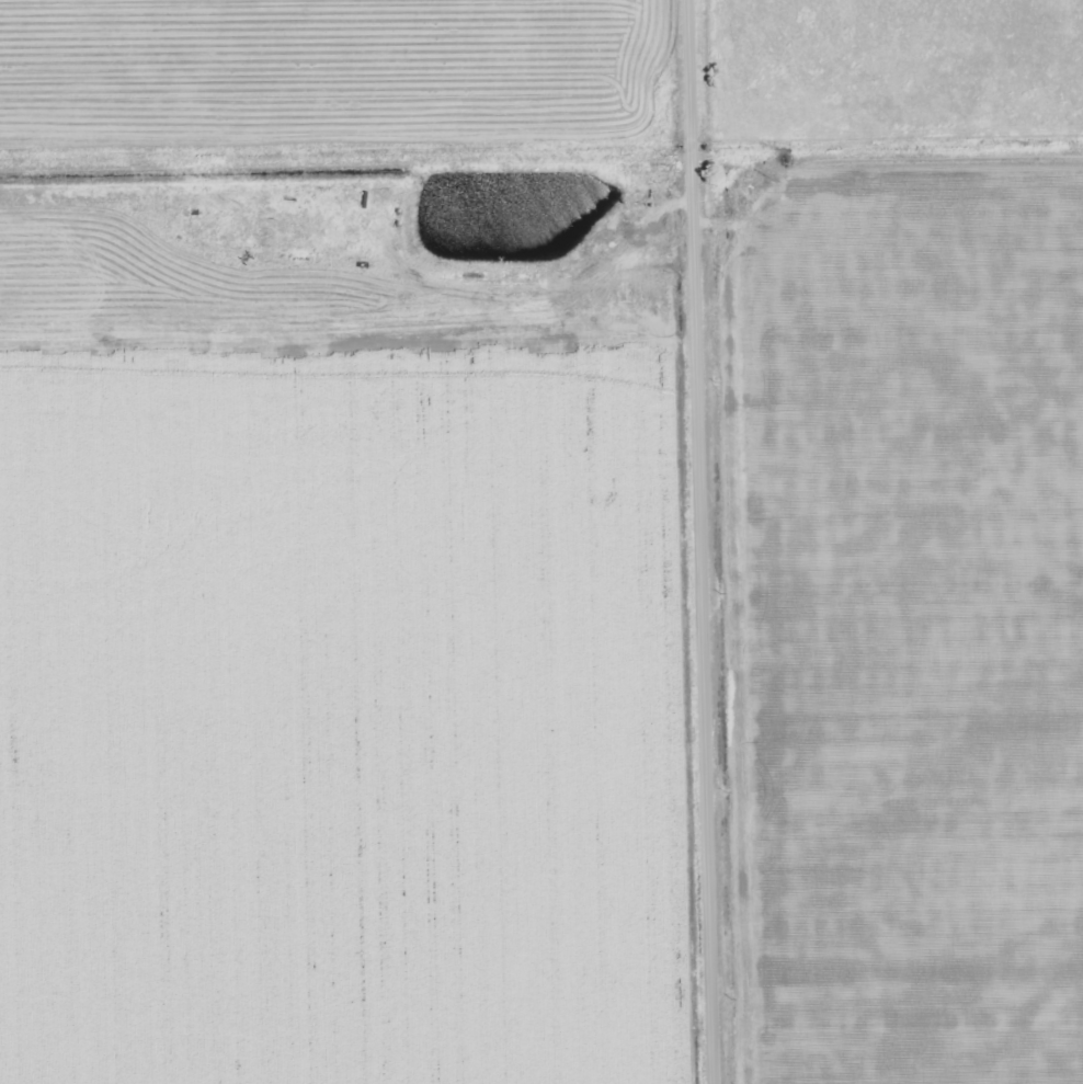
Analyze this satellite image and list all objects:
building: (618, 299)
road: (704, 541)

